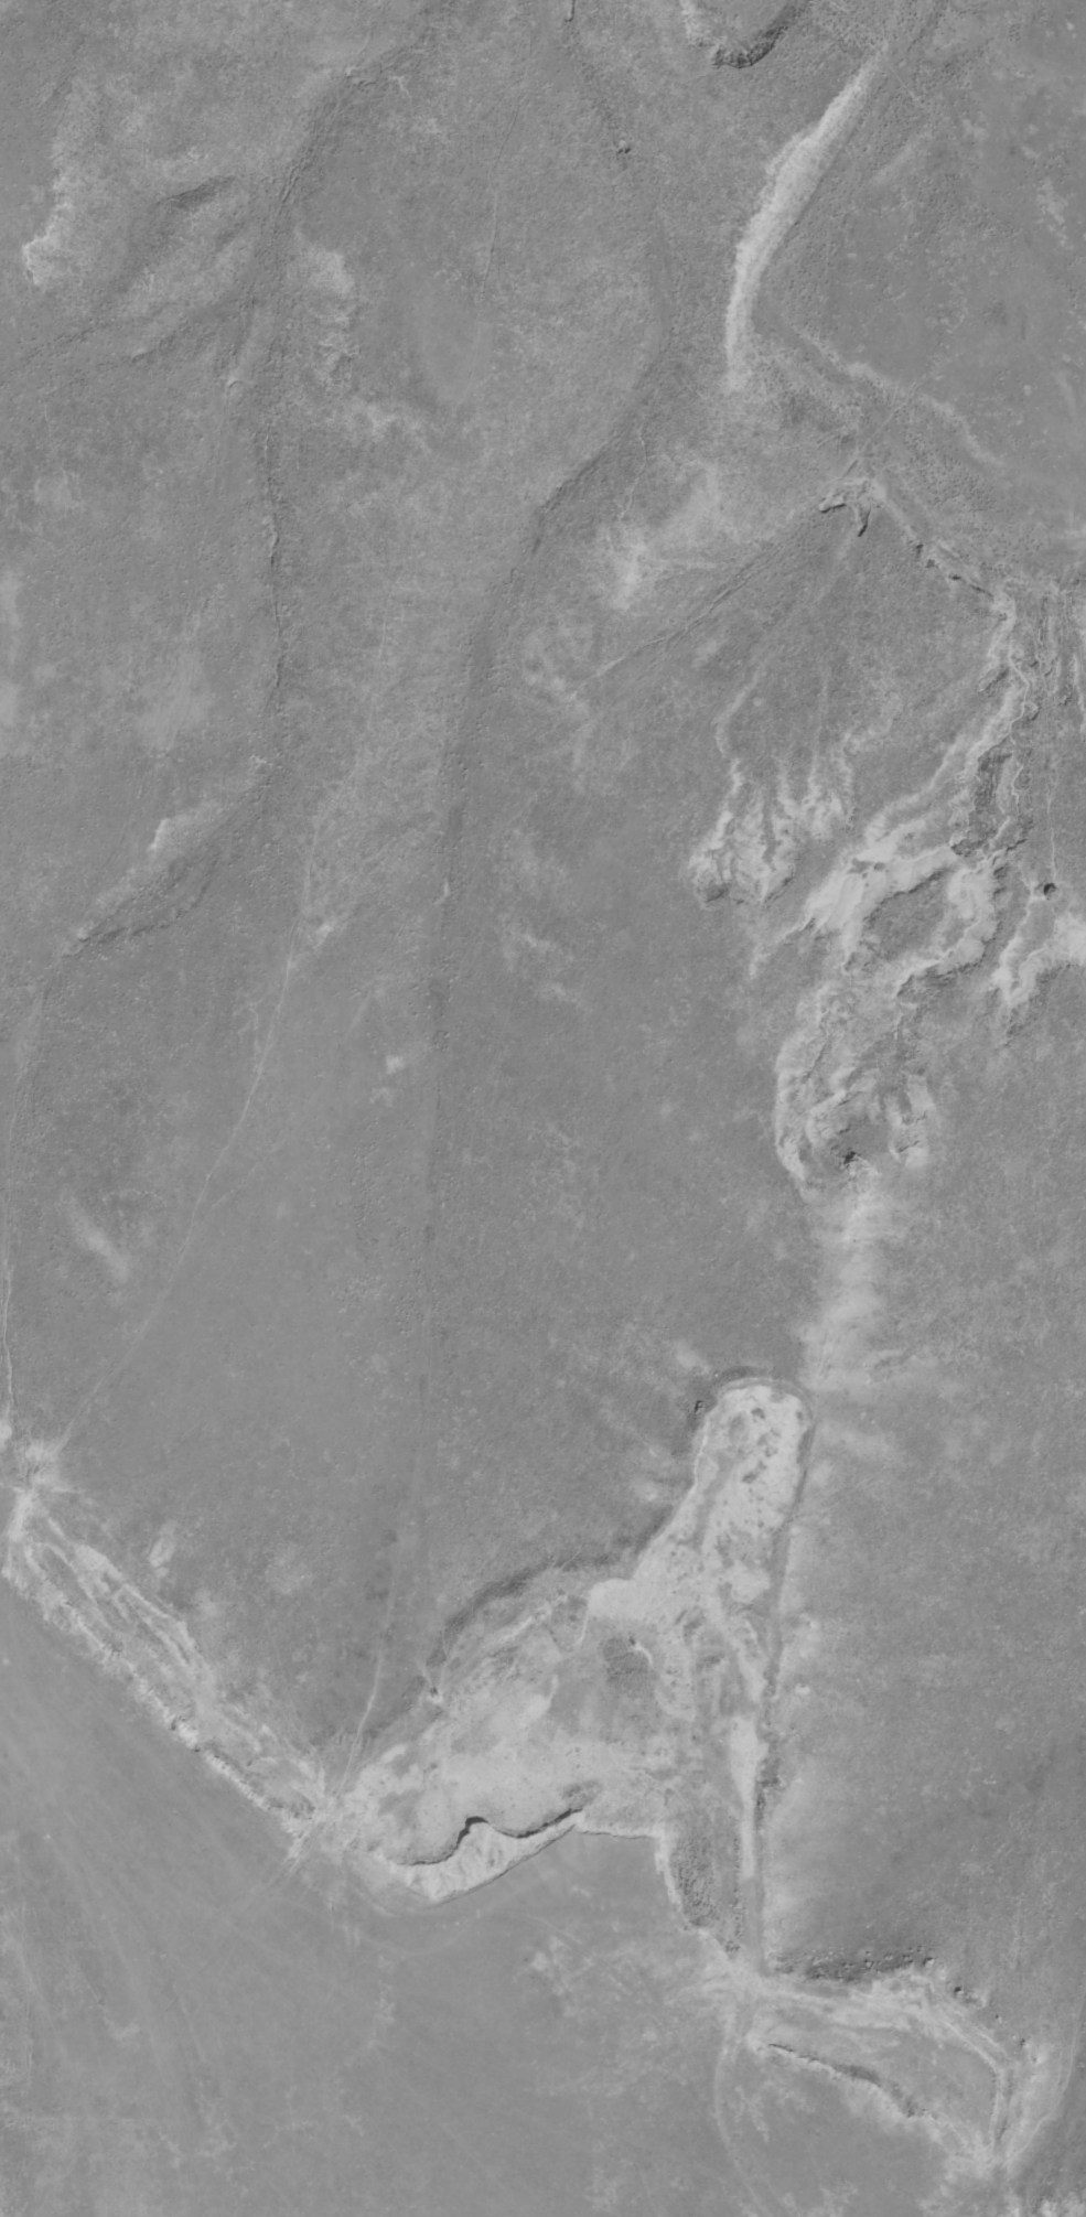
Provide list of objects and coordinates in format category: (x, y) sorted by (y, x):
road: (662, 1976)

